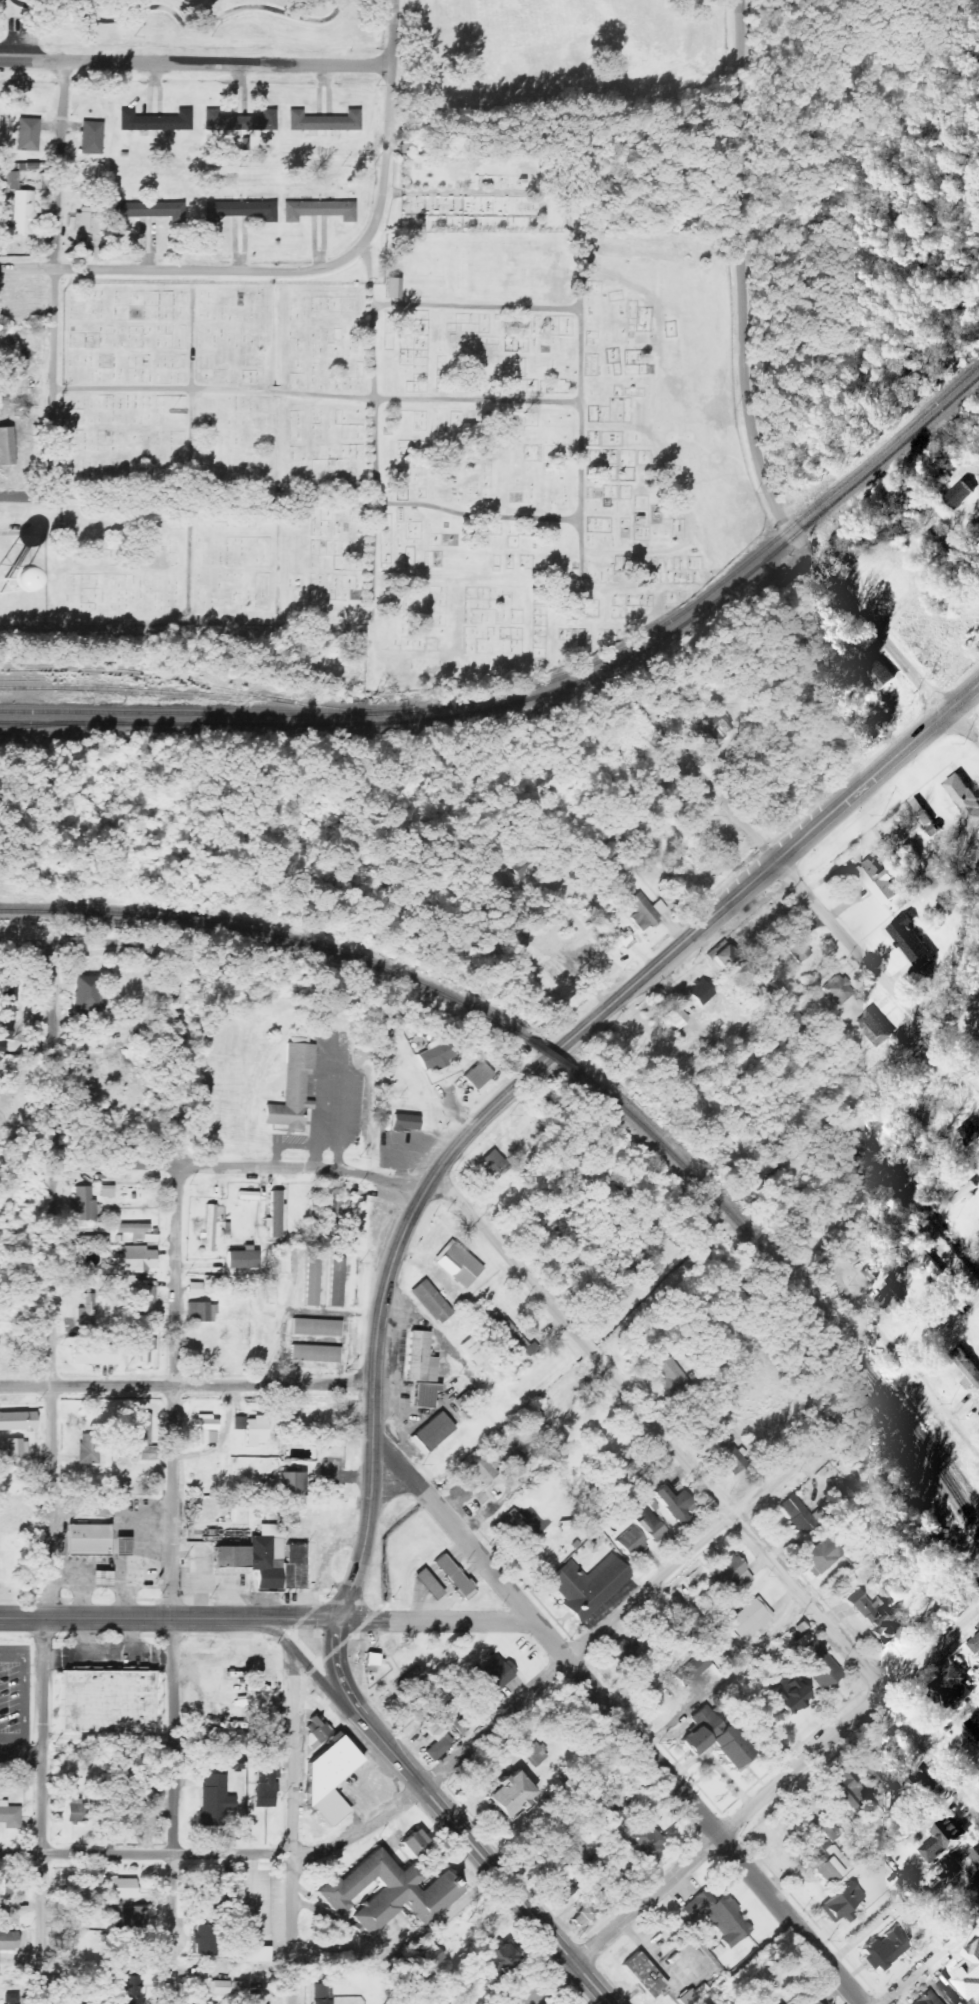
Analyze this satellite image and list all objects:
park: (567, 49)
road: (196, 63)
building: (156, 121)
building: (240, 122)
building: (324, 122)
road: (388, 125)
building: (28, 134)
building: (92, 138)
building: (8, 183)
park: (480, 193)
building: (147, 210)
building: (241, 211)
building: (321, 211)
building: (22, 213)
building: (86, 220)
road: (183, 270)
road: (57, 279)
building: (387, 287)
road: (579, 294)
road: (475, 307)
road: (316, 395)
road: (749, 411)
road: (373, 432)
building: (6, 447)
road: (191, 452)
park: (402, 461)
building: (960, 495)
road: (25, 497)
road: (315, 500)
building: (7, 575)
water tower: (8, 580)
railway: (722, 583)
road: (926, 585)
building: (878, 673)
railway: (114, 680)
railway: (208, 684)
railway: (149, 691)
railway: (542, 695)
railway: (208, 714)
railway: (43, 725)
building: (717, 728)
building: (964, 798)
building: (875, 881)
building: (645, 911)
road: (835, 927)
railway: (271, 934)
building: (620, 941)
building: (912, 942)
road: (134, 944)
building: (799, 950)
building: (725, 956)
building: (588, 958)
building: (838, 990)
building: (8, 991)
building: (701, 992)
building: (86, 995)
building: (676, 1017)
building: (4, 1029)
building: (875, 1029)
building: (717, 1050)
building: (441, 1052)
railway: (549, 1057)
building: (479, 1075)
road: (528, 1076)
building: (294, 1088)
building: (406, 1122)
building: (970, 1132)
building: (493, 1161)
road: (213, 1166)
building: (108, 1191)
building: (965, 1193)
building: (84, 1205)
building: (326, 1210)
building: (275, 1215)
building: (209, 1228)
building: (138, 1232)
building: (843, 1248)
building: (137, 1259)
building: (243, 1260)
building: (459, 1264)
building: (939, 1275)
road: (50, 1280)
building: (314, 1281)
building: (338, 1282)
road: (175, 1283)
railway: (794, 1289)
building: (195, 1290)
building: (143, 1292)
building: (891, 1299)
building: (432, 1302)
building: (201, 1312)
building: (89, 1318)
building: (317, 1327)
road: (943, 1329)
building: (514, 1337)
building: (147, 1346)
road: (898, 1350)
building: (474, 1351)
building: (94, 1354)
building: (316, 1354)
building: (967, 1369)
building: (422, 1370)
building: (674, 1376)
road: (186, 1386)
building: (18, 1421)
building: (253, 1429)
building: (204, 1430)
building: (432, 1433)
building: (143, 1436)
building: (13, 1449)
building: (89, 1449)
building: (733, 1461)
building: (487, 1467)
building: (293, 1484)
road: (707, 1488)
building: (675, 1504)
building: (17, 1506)
building: (802, 1515)
building: (651, 1524)
building: (85, 1539)
building: (631, 1542)
building: (122, 1546)
building: (5, 1548)
building: (226, 1557)
building: (821, 1557)
building: (273, 1559)
road: (679, 1560)
road: (431, 1574)
building: (449, 1575)
building: (731, 1576)
building: (102, 1578)
building: (588, 1585)
road: (457, 1589)
road: (103, 1617)
road: (273, 1618)
building: (750, 1618)
road: (436, 1620)
building: (879, 1620)
building: (975, 1645)
building: (625, 1651)
building: (674, 1658)
building: (373, 1660)
road: (303, 1662)
building: (818, 1666)
building: (493, 1675)
building: (410, 1680)
building: (448, 1683)
road: (343, 1684)
building: (954, 1688)
building: (791, 1696)
road: (20, 1697)
parking lot: (15, 1702)
building: (104, 1702)
building: (423, 1710)
road: (617, 1718)
road: (494, 1723)
building: (974, 1729)
building: (319, 1734)
building: (715, 1738)
building: (435, 1748)
road: (293, 1752)
building: (535, 1754)
road: (10, 1756)
road: (31, 1756)
building: (330, 1780)
road: (776, 1785)
building: (846, 1790)
building: (910, 1792)
building: (263, 1795)
building: (510, 1796)
building: (210, 1799)
building: (154, 1800)
road: (42, 1810)
building: (76, 1811)
road: (172, 1811)
building: (122, 1815)
building: (10, 1816)
building: (611, 1816)
road: (362, 1833)
building: (945, 1840)
building: (644, 1843)
building: (415, 1844)
road: (146, 1852)
building: (830, 1863)
building: (974, 1866)
road: (494, 1872)
building: (606, 1876)
building: (124, 1889)
building: (5, 1890)
building: (382, 1892)
building: (210, 1897)
building: (843, 1903)
building: (4, 1914)
building: (717, 1915)
building: (584, 1916)
building: (127, 1917)
road: (292, 1928)
building: (205, 1940)
building: (9, 1941)
building: (884, 1951)
building: (252, 1953)
building: (499, 1961)
road: (931, 1962)
building: (638, 1976)
road: (552, 1984)
building: (126, 1987)
building: (219, 1988)
building: (323, 1994)
building: (14, 1999)
building: (928, 1999)
building: (438, 2001)
building: (813, 2002)
building: (956, 2003)

